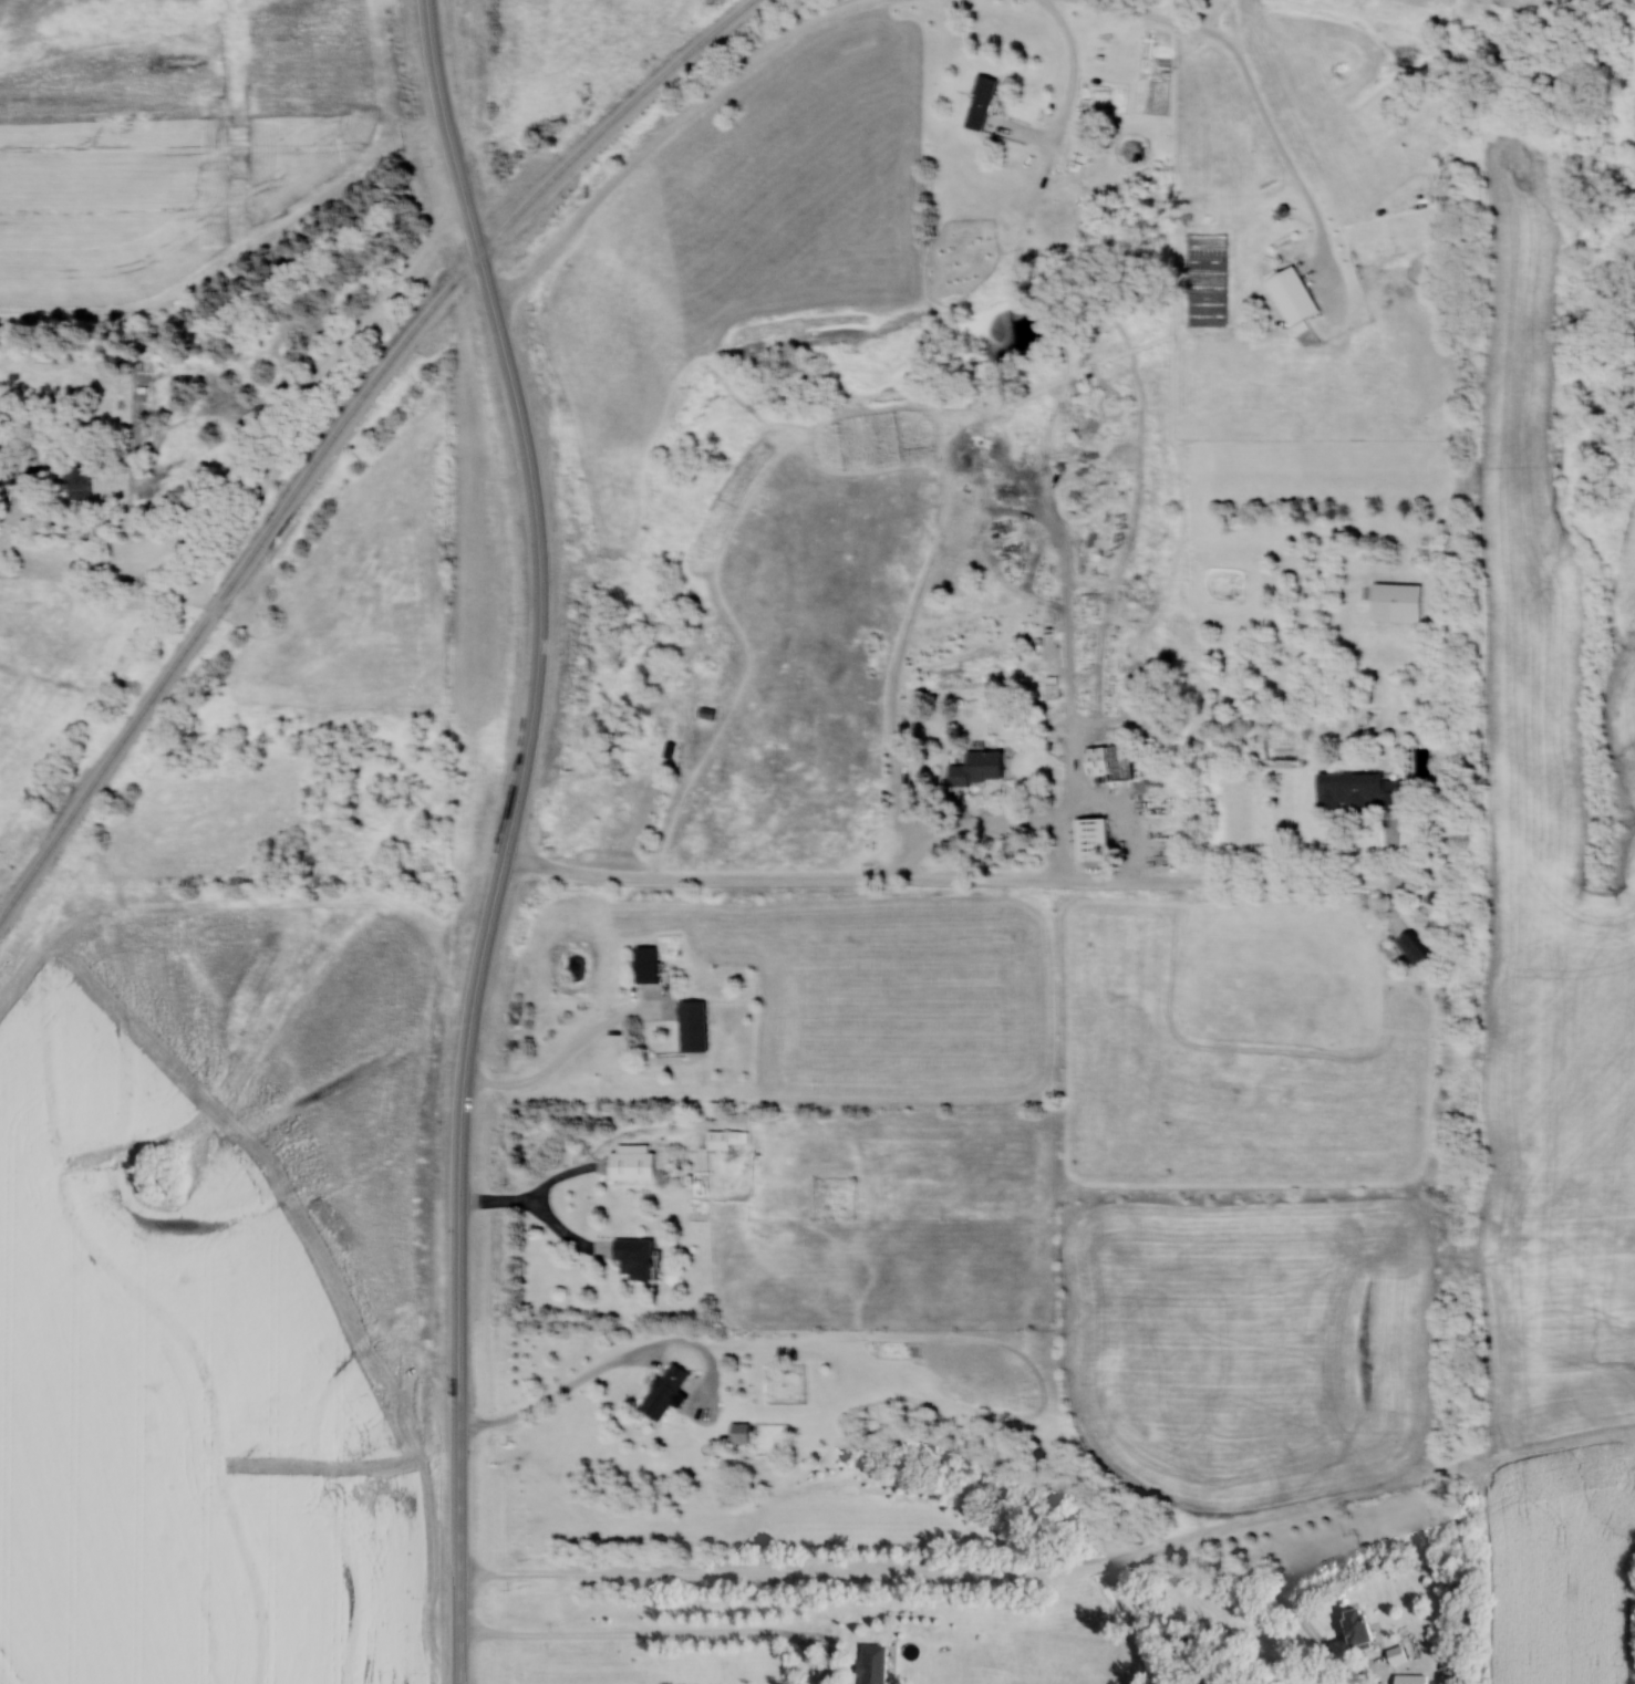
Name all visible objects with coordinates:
road: (1072, 89)
road: (1256, 94)
building: (977, 102)
road: (665, 129)
building: (1079, 146)
building: (1290, 295)
road: (286, 419)
railway: (341, 427)
road: (525, 449)
building: (75, 482)
building: (1394, 602)
road: (1082, 706)
building: (659, 725)
building: (1118, 761)
building: (974, 768)
building: (1357, 791)
road: (1099, 802)
building: (1088, 838)
road: (949, 877)
building: (1410, 947)
building: (643, 965)
road: (478, 979)
building: (691, 1027)
building: (721, 1139)
road: (426, 1151)
building: (629, 1162)
building: (630, 1257)
building: (661, 1391)
road: (427, 1417)
road: (908, 1574)
building: (1353, 1624)
road: (459, 1657)
building: (869, 1663)
building: (1407, 1678)

